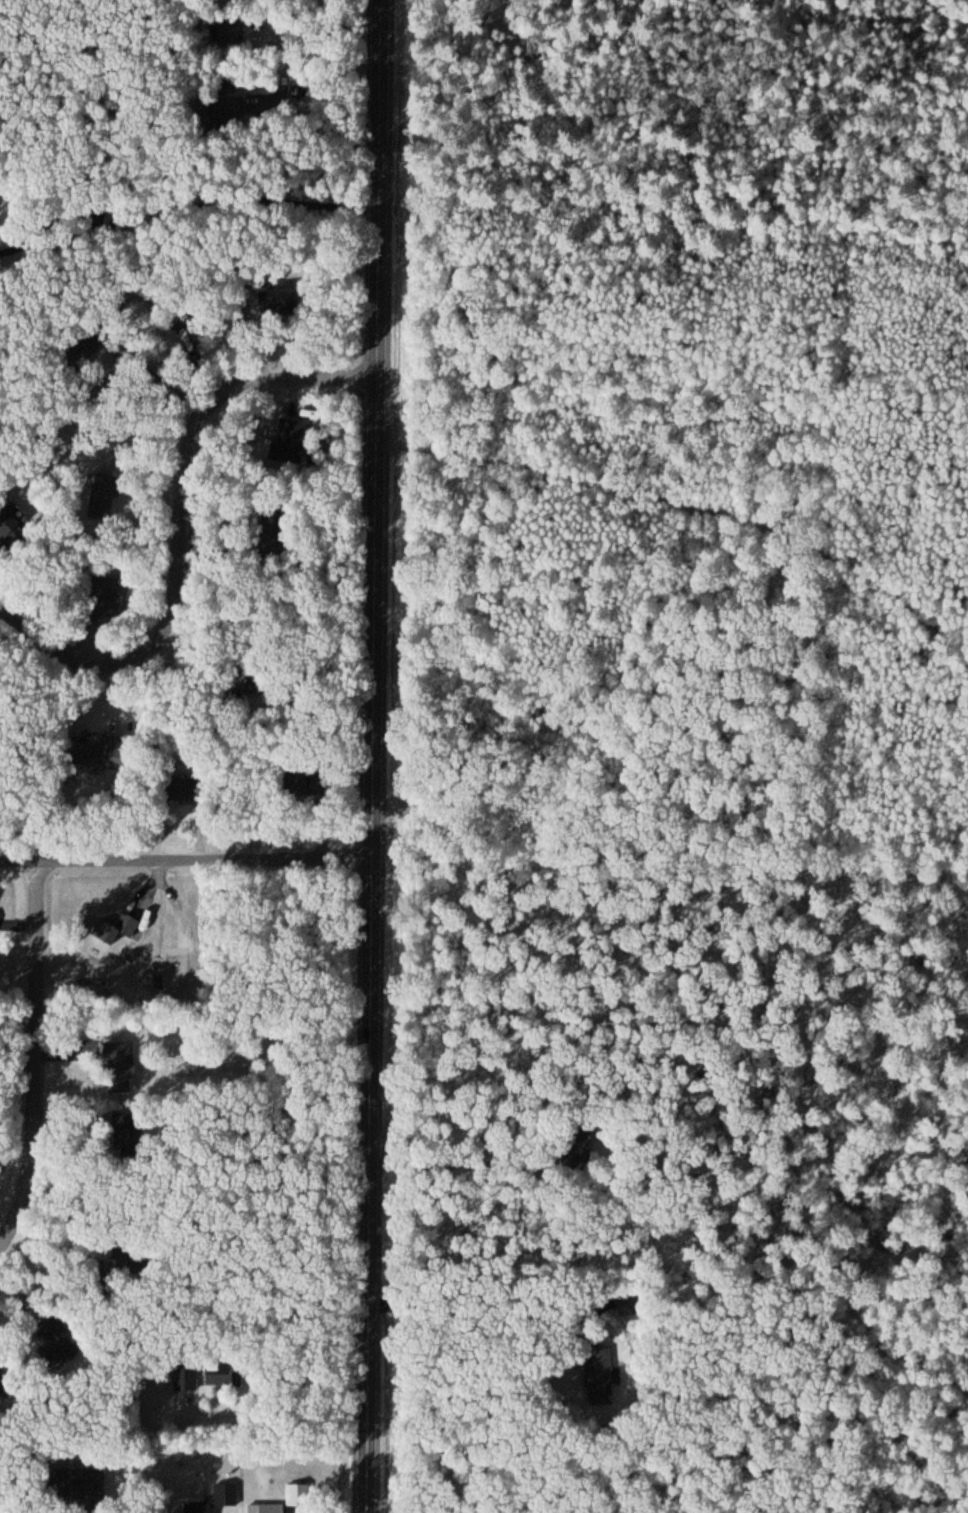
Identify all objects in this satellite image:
building: (229, 108)
building: (280, 303)
building: (287, 442)
building: (104, 498)
building: (6, 525)
road: (179, 529)
building: (107, 598)
building: (89, 753)
road: (365, 756)
building: (296, 781)
building: (175, 790)
road: (184, 861)
road: (38, 1054)
building: (120, 1063)
building: (54, 1350)
building: (187, 1374)
building: (601, 1375)
building: (219, 1377)
building: (78, 1484)
building: (297, 1494)
building: (216, 1499)

